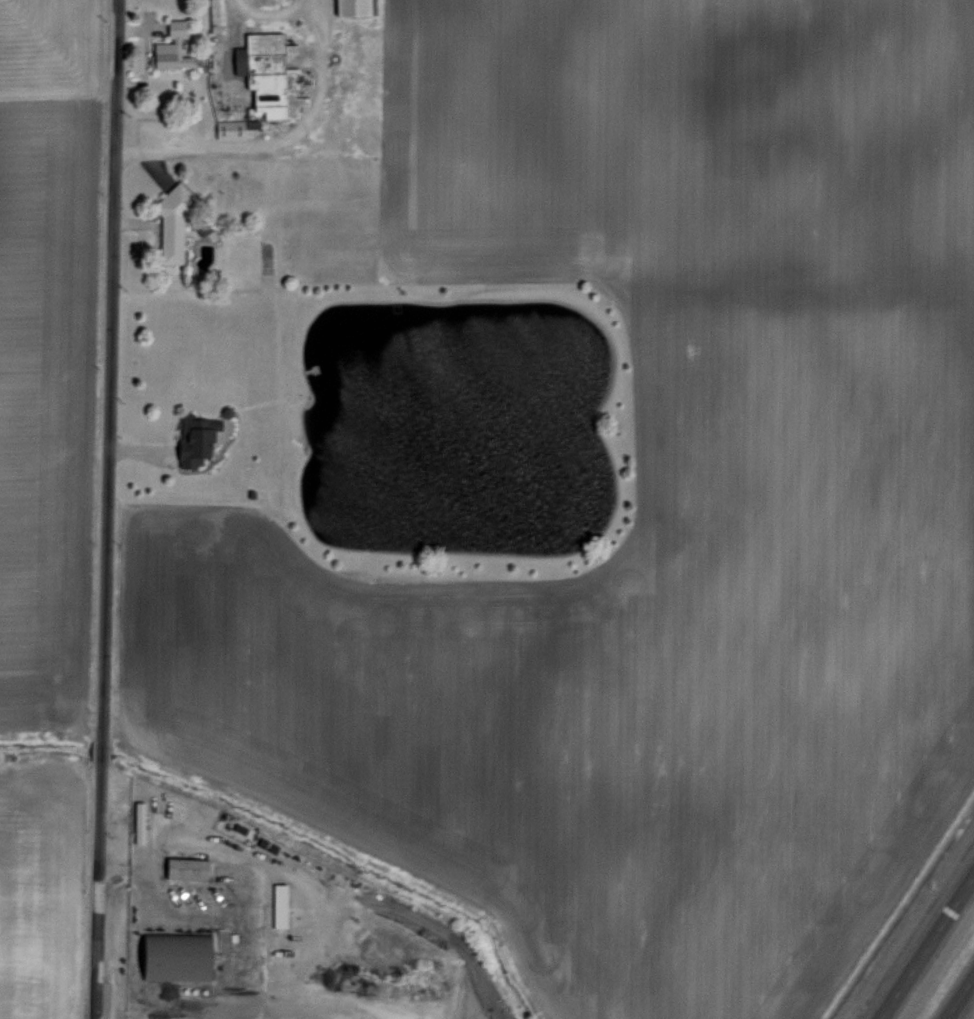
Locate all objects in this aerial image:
building: (214, 14)
building: (170, 47)
building: (267, 74)
building: (232, 127)
road: (275, 146)
building: (170, 225)
building: (193, 440)
crop: (639, 503)
road: (102, 509)
building: (137, 821)
building: (184, 868)
building: (278, 904)
road: (924, 942)
building: (174, 957)
road: (970, 1014)

